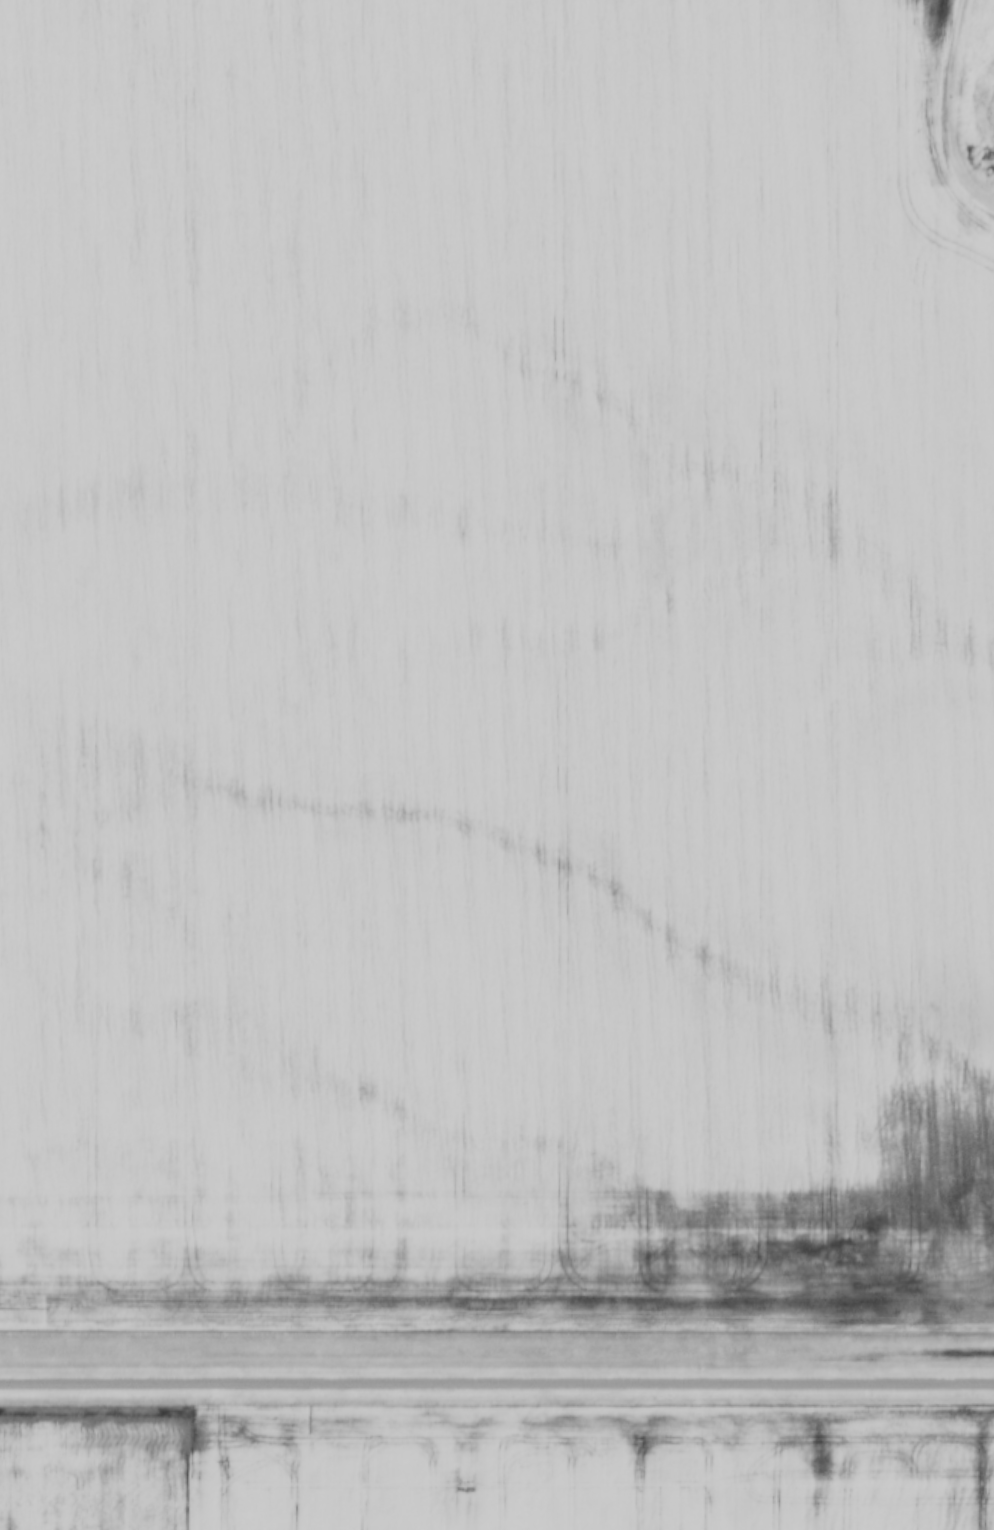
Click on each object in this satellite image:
road: (949, 108)
road: (496, 1383)

